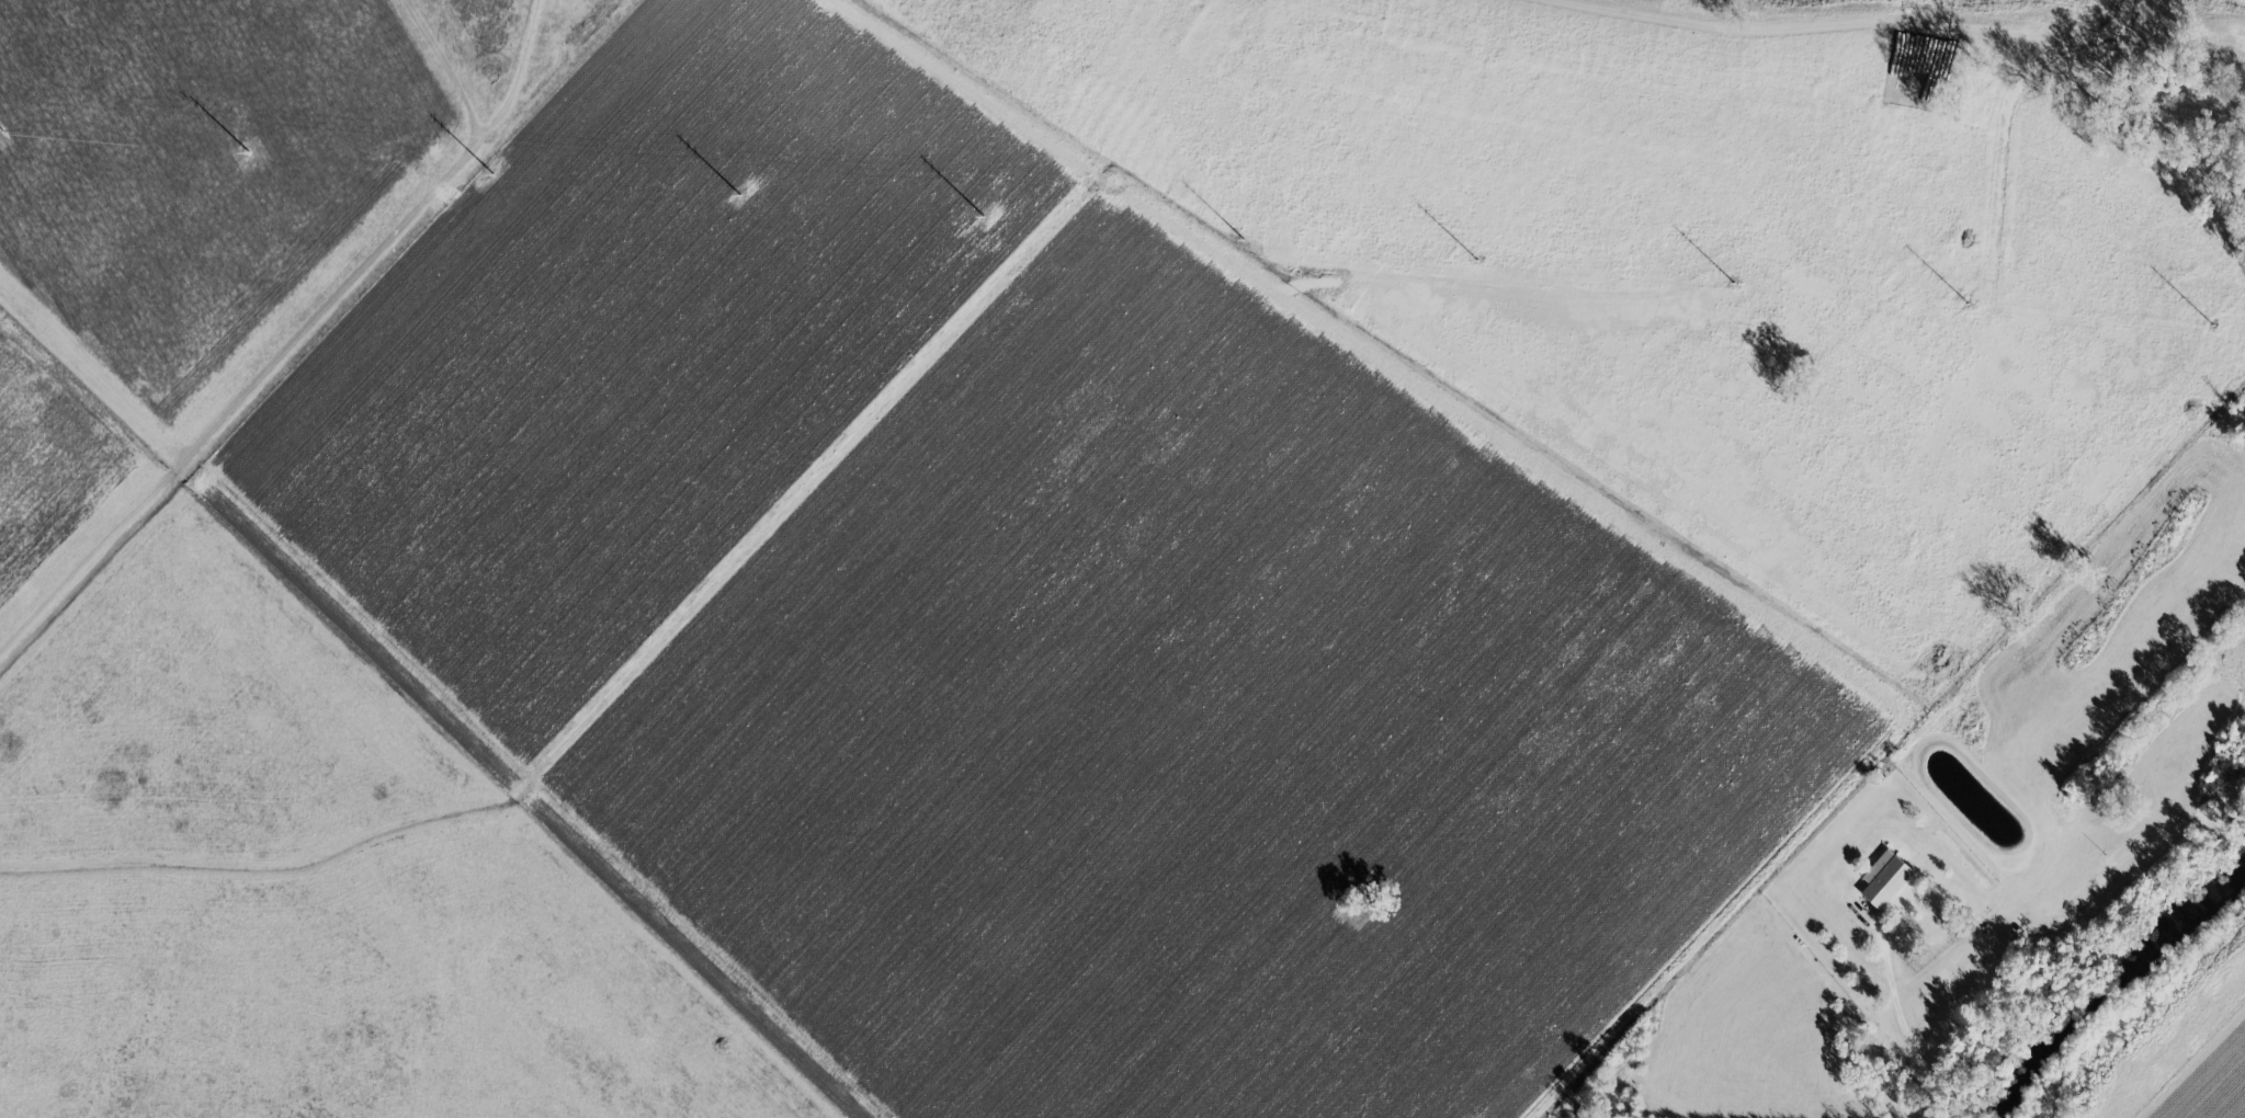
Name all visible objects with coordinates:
building: (1884, 879)
road: (1906, 1034)

